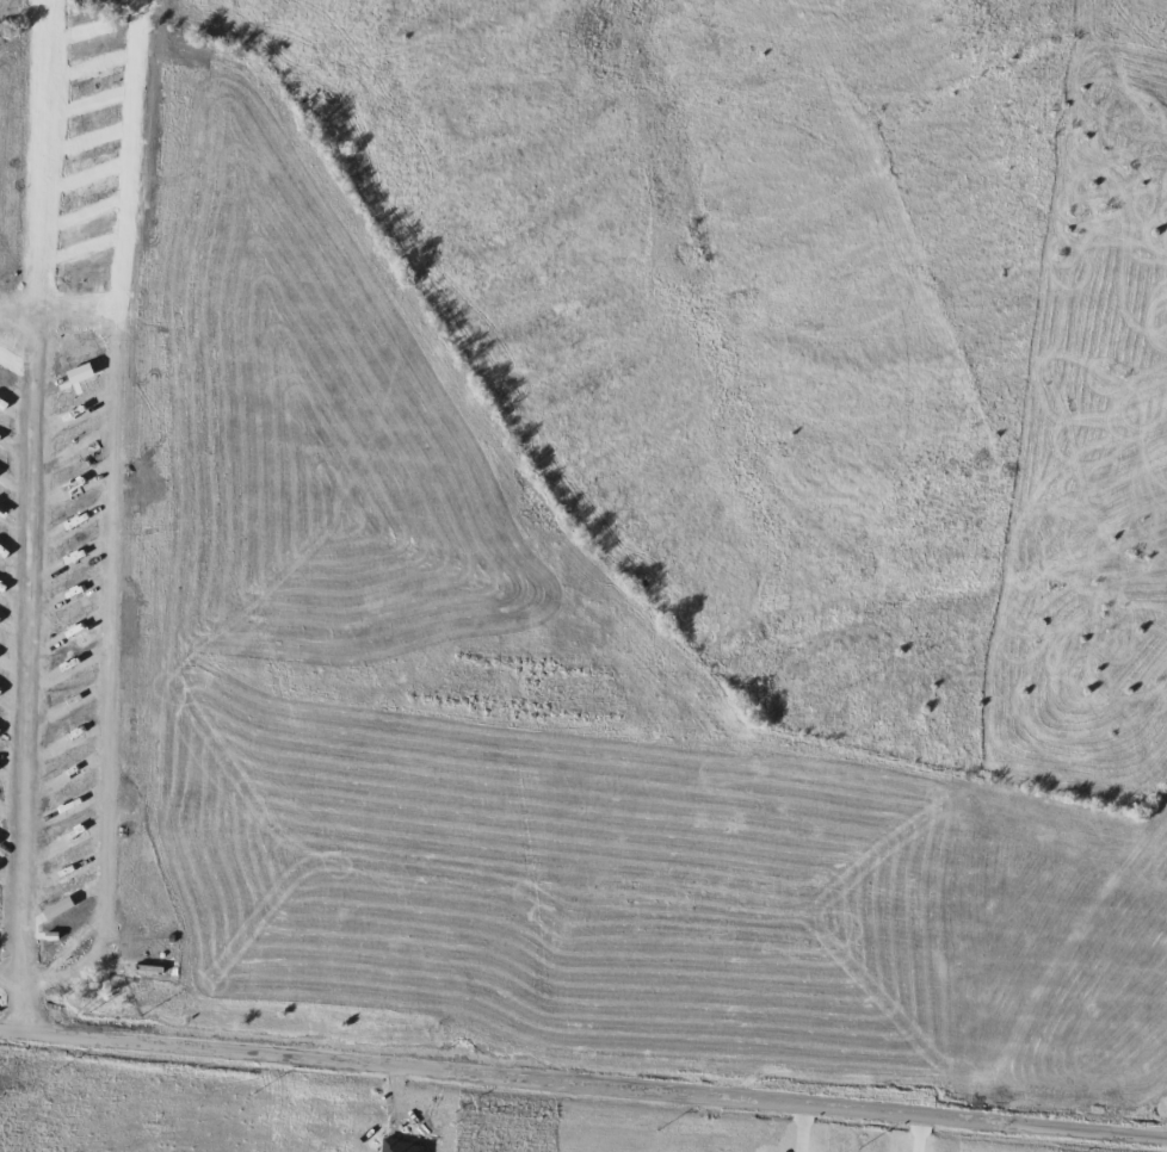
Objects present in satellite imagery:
road: (47, 162)
road: (31, 627)
road: (11, 978)
road: (21, 1004)
road: (583, 1079)

